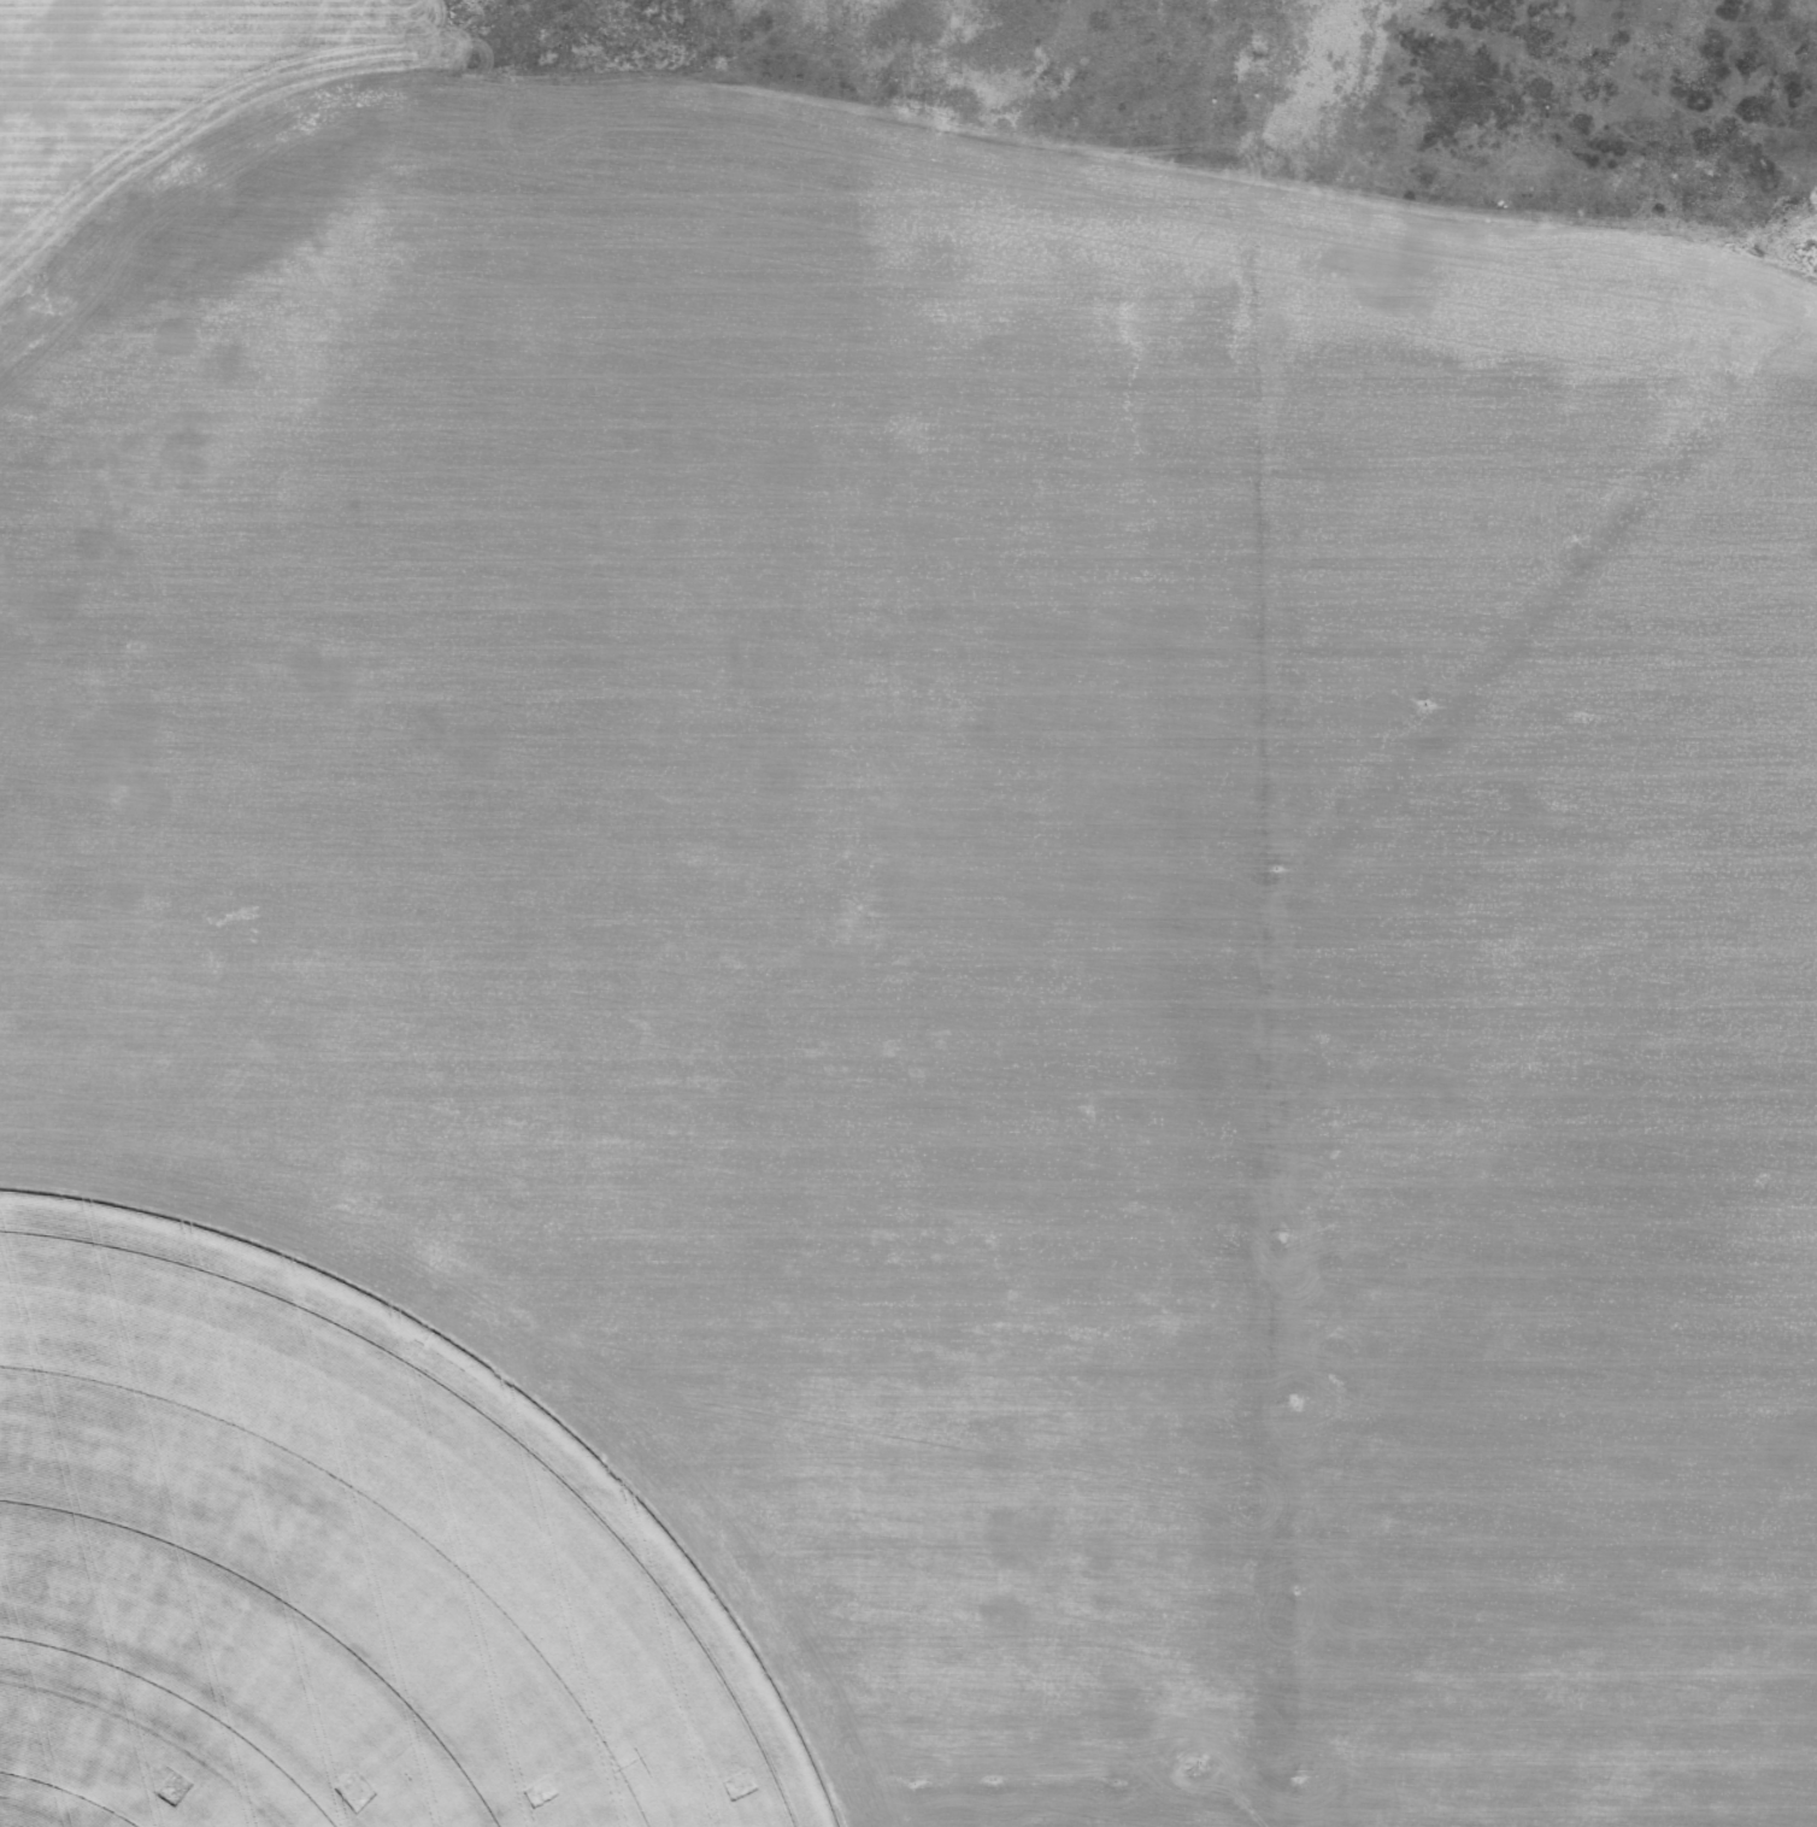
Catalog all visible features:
road: (810, 1426)

